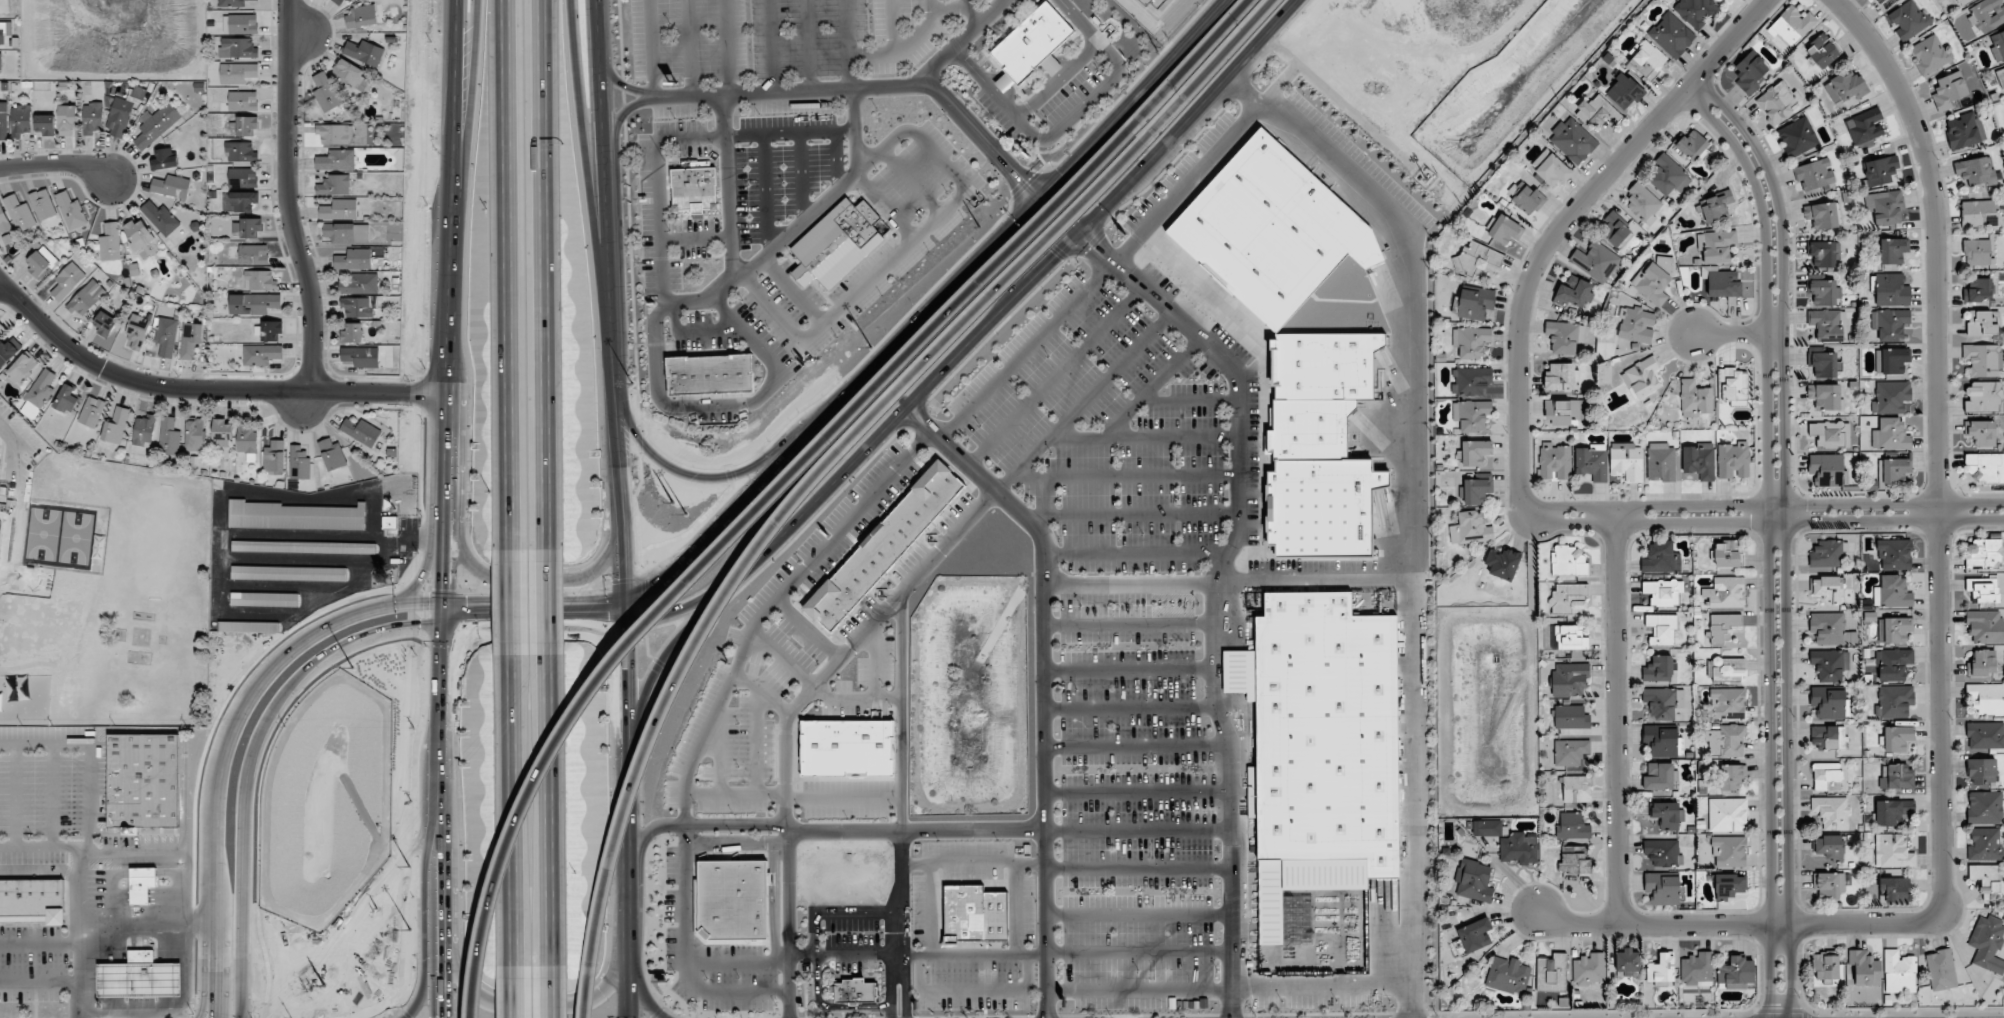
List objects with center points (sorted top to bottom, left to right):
building: (1717, 0)
building: (1145, 2)
building: (1161, 2)
building: (1962, 2)
building: (238, 3)
building: (342, 3)
building: (1881, 3)
road: (966, 4)
road: (958, 9)
building: (1695, 11)
building: (1988, 14)
building: (362, 16)
building: (1908, 20)
building: (240, 24)
building: (1792, 25)
road: (891, 26)
building: (1671, 35)
road: (962, 41)
building: (1032, 42)
road: (849, 43)
road: (805, 44)
road: (769, 45)
road: (727, 46)
road: (688, 47)
road: (904, 47)
building: (1998, 47)
building: (238, 48)
road: (650, 48)
building: (1823, 51)
building: (364, 52)
power tower: (1157, 52)
building: (1930, 55)
building: (1648, 60)
building: (0, 63)
building: (1051, 66)
building: (1751, 72)
building: (237, 73)
building: (350, 74)
building: (2000, 77)
road: (620, 85)
building: (1845, 87)
building: (1949, 90)
building: (326, 92)
building: (1624, 92)
building: (243, 101)
building: (124, 111)
building: (1599, 112)
road: (624, 115)
building: (92, 117)
building: (67, 119)
building: (4, 120)
building: (20, 120)
building: (45, 123)
building: (1865, 124)
building: (157, 125)
building: (246, 126)
road: (455, 131)
building: (1964, 131)
road: (472, 132)
building: (334, 133)
building: (1798, 137)
building: (1573, 140)
building: (1692, 145)
building: (239, 151)
road: (590, 155)
road: (605, 155)
building: (165, 159)
building: (336, 160)
road: (55, 164)
building: (1551, 168)
building: (1879, 170)
building: (1975, 171)
building: (1815, 174)
building: (1668, 175)
building: (243, 177)
building: (334, 185)
building: (171, 186)
road: (725, 188)
road: (657, 189)
building: (695, 189)
road: (286, 197)
building: (1529, 200)
building: (239, 201)
building: (43, 204)
building: (1644, 204)
building: (1716, 207)
building: (1886, 207)
building: (339, 209)
building: (71, 211)
building: (20, 213)
building: (1980, 213)
building: (1822, 215)
building: (161, 218)
building: (4, 220)
road: (796, 225)
power tower: (977, 227)
building: (247, 228)
building: (1504, 229)
building: (1615, 229)
building: (1272, 230)
road: (1559, 230)
building: (346, 233)
building: (139, 234)
building: (110, 242)
road: (694, 242)
building: (838, 242)
building: (1716, 246)
building: (1893, 250)
building: (1977, 252)
building: (1825, 253)
building: (253, 254)
building: (353, 259)
building: (1476, 259)
building: (1596, 261)
building: (41, 262)
building: (1664, 263)
road: (1037, 272)
road: (504, 274)
road: (545, 274)
building: (260, 280)
building: (67, 281)
building: (1721, 282)
building: (358, 283)
building: (1652, 284)
building: (1890, 290)
building: (1978, 290)
building: (1824, 292)
building: (1575, 293)
building: (87, 298)
building: (261, 303)
building: (1476, 303)
building: (359, 306)
building: (105, 323)
building: (1890, 323)
building: (1979, 323)
building: (1636, 325)
building: (1827, 325)
building: (1, 328)
building: (271, 330)
building: (137, 331)
building: (352, 333)
road: (1741, 335)
building: (167, 336)
building: (1565, 336)
road: (688, 338)
building: (190, 339)
building: (1471, 341)
building: (8, 351)
road: (1206, 353)
building: (261, 354)
building: (359, 356)
building: (1983, 359)
building: (1892, 361)
building: (1824, 364)
building: (23, 369)
building: (711, 373)
building: (1561, 377)
building: (1642, 377)
building: (1472, 381)
road: (135, 382)
building: (1732, 386)
road: (378, 392)
building: (1825, 396)
building: (1891, 396)
building: (1983, 397)
building: (67, 399)
building: (1695, 399)
road: (722, 406)
building: (92, 411)
building: (1562, 412)
building: (1471, 415)
building: (117, 426)
building: (144, 429)
building: (361, 431)
building: (1981, 432)
building: (223, 433)
building: (1831, 434)
building: (170, 435)
building: (195, 435)
building: (1891, 435)
road: (1939, 444)
road: (449, 445)
building: (1320, 446)
building: (1475, 452)
road: (835, 453)
building: (332, 454)
building: (274, 457)
building: (1733, 460)
building: (1627, 461)
building: (1699, 461)
building: (1554, 462)
building: (1592, 462)
building: (1661, 462)
building: (299, 463)
building: (1986, 467)
building: (1827, 468)
road: (796, 469)
building: (1894, 470)
building: (1478, 489)
power tower: (671, 502)
road: (1777, 505)
building: (296, 516)
road: (1776, 522)
building: (389, 523)
building: (1471, 529)
road: (624, 530)
road: (1787, 534)
road: (1771, 541)
road: (664, 546)
building: (303, 547)
building: (879, 548)
building: (1728, 553)
building: (1984, 553)
building: (1828, 554)
building: (1895, 554)
building: (1660, 557)
building: (1568, 561)
building: (1503, 563)
road: (674, 567)
building: (289, 573)
road: (220, 575)
road: (525, 584)
traffic signals: (647, 589)
building: (1828, 589)
building: (1983, 590)
building: (1663, 592)
building: (1726, 592)
building: (1892, 592)
building: (1569, 598)
building: (264, 599)
road: (697, 599)
road: (507, 601)
road: (548, 601)
traffic signals: (424, 607)
road: (1413, 616)
road: (522, 623)
traffic signals: (603, 623)
traffic signals: (467, 624)
road: (1129, 625)
building: (1985, 626)
building: (248, 627)
building: (1723, 627)
building: (1662, 628)
building: (1831, 629)
building: (1894, 630)
road: (684, 634)
building: (1571, 638)
traffic signals: (621, 639)
traffic signals: (443, 646)
building: (1982, 663)
building: (1830, 664)
building: (1893, 664)
building: (1658, 669)
building: (1726, 669)
road: (1129, 671)
building: (1569, 678)
road: (1046, 682)
building: (1987, 697)
building: (1894, 701)
building: (1, 703)
building: (1660, 703)
building: (1728, 703)
road: (1129, 709)
road: (1618, 715)
road: (791, 717)
building: (1571, 717)
building: (1985, 735)
building: (1828, 737)
building: (1897, 738)
building: (1726, 740)
building: (1662, 741)
building: (848, 747)
road: (1136, 747)
building: (1316, 748)
building: (1570, 752)
road: (249, 758)
building: (1981, 771)
building: (1731, 776)
building: (1827, 776)
building: (1660, 777)
building: (1897, 777)
building: (144, 780)
building: (1576, 789)
road: (442, 792)
road: (1137, 792)
building: (1985, 807)
road: (509, 811)
road: (552, 811)
building: (1832, 812)
building: (1892, 812)
building: (1727, 814)
building: (1668, 815)
road: (701, 825)
building: (1572, 826)
building: (1487, 828)
road: (1137, 830)
road: (915, 831)
building: (1985, 844)
building: (1520, 847)
building: (1830, 847)
building: (1729, 851)
building: (1892, 851)
building: (1662, 853)
building: (1574, 860)
road: (973, 862)
power tower: (407, 868)
road: (1137, 869)
building: (1988, 877)
building: (1474, 880)
building: (142, 883)
road: (629, 884)
building: (1829, 884)
building: (1729, 886)
building: (1663, 889)
building: (1895, 890)
building: (733, 898)
building: (33, 901)
road: (896, 903)
road: (928, 910)
road: (1014, 910)
road: (835, 913)
building: (996, 916)
road: (1137, 916)
road: (1737, 925)
building: (1475, 935)
building: (1987, 943)
road: (1138, 954)
road: (915, 955)
building: (1628, 962)
building: (1826, 965)
building: (1865, 968)
building: (1589, 969)
building: (1697, 969)
building: (1661, 970)
building: (1941, 970)
building: (1737, 972)
building: (1551, 973)
building: (1899, 973)
building: (1507, 975)
road: (896, 976)
building: (138, 980)
road: (57, 982)
road: (439, 987)
road: (1321, 987)
power tower: (321, 988)
road: (428, 989)
road: (642, 989)
building: (854, 991)
road: (1138, 991)
road: (511, 993)
road: (554, 993)
road: (972, 993)
road: (535, 1007)
road: (827, 1008)
road: (219, 1015)
traffic signals: (440, 1015)

